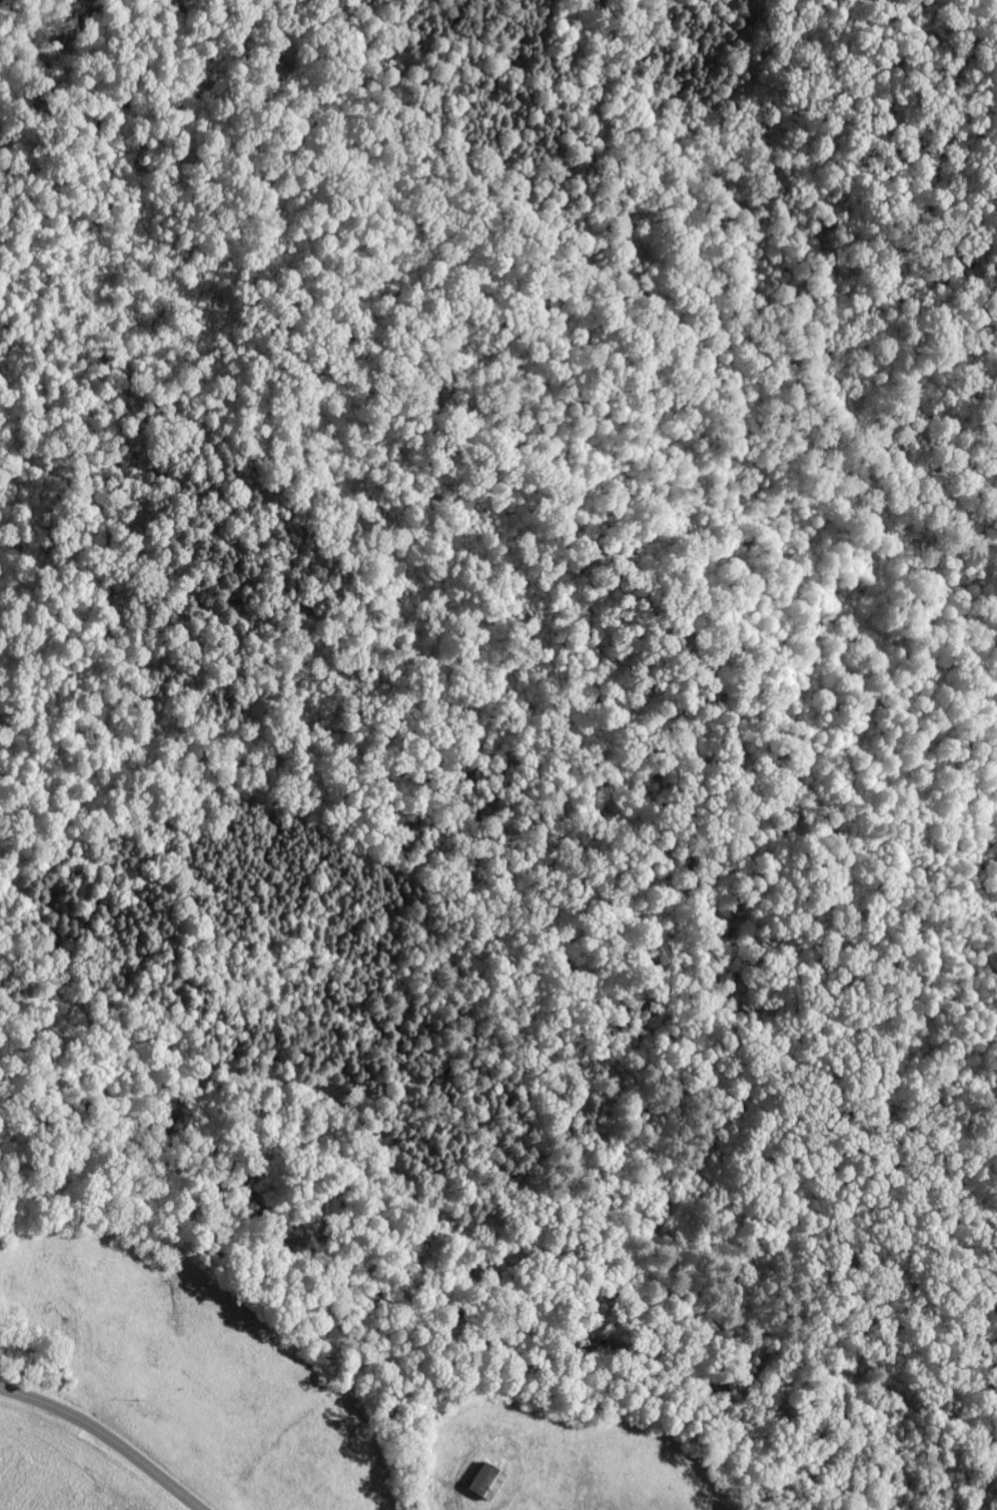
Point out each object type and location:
river: (12, 8)
road: (955, 1407)
road: (107, 1437)
building: (486, 1483)

